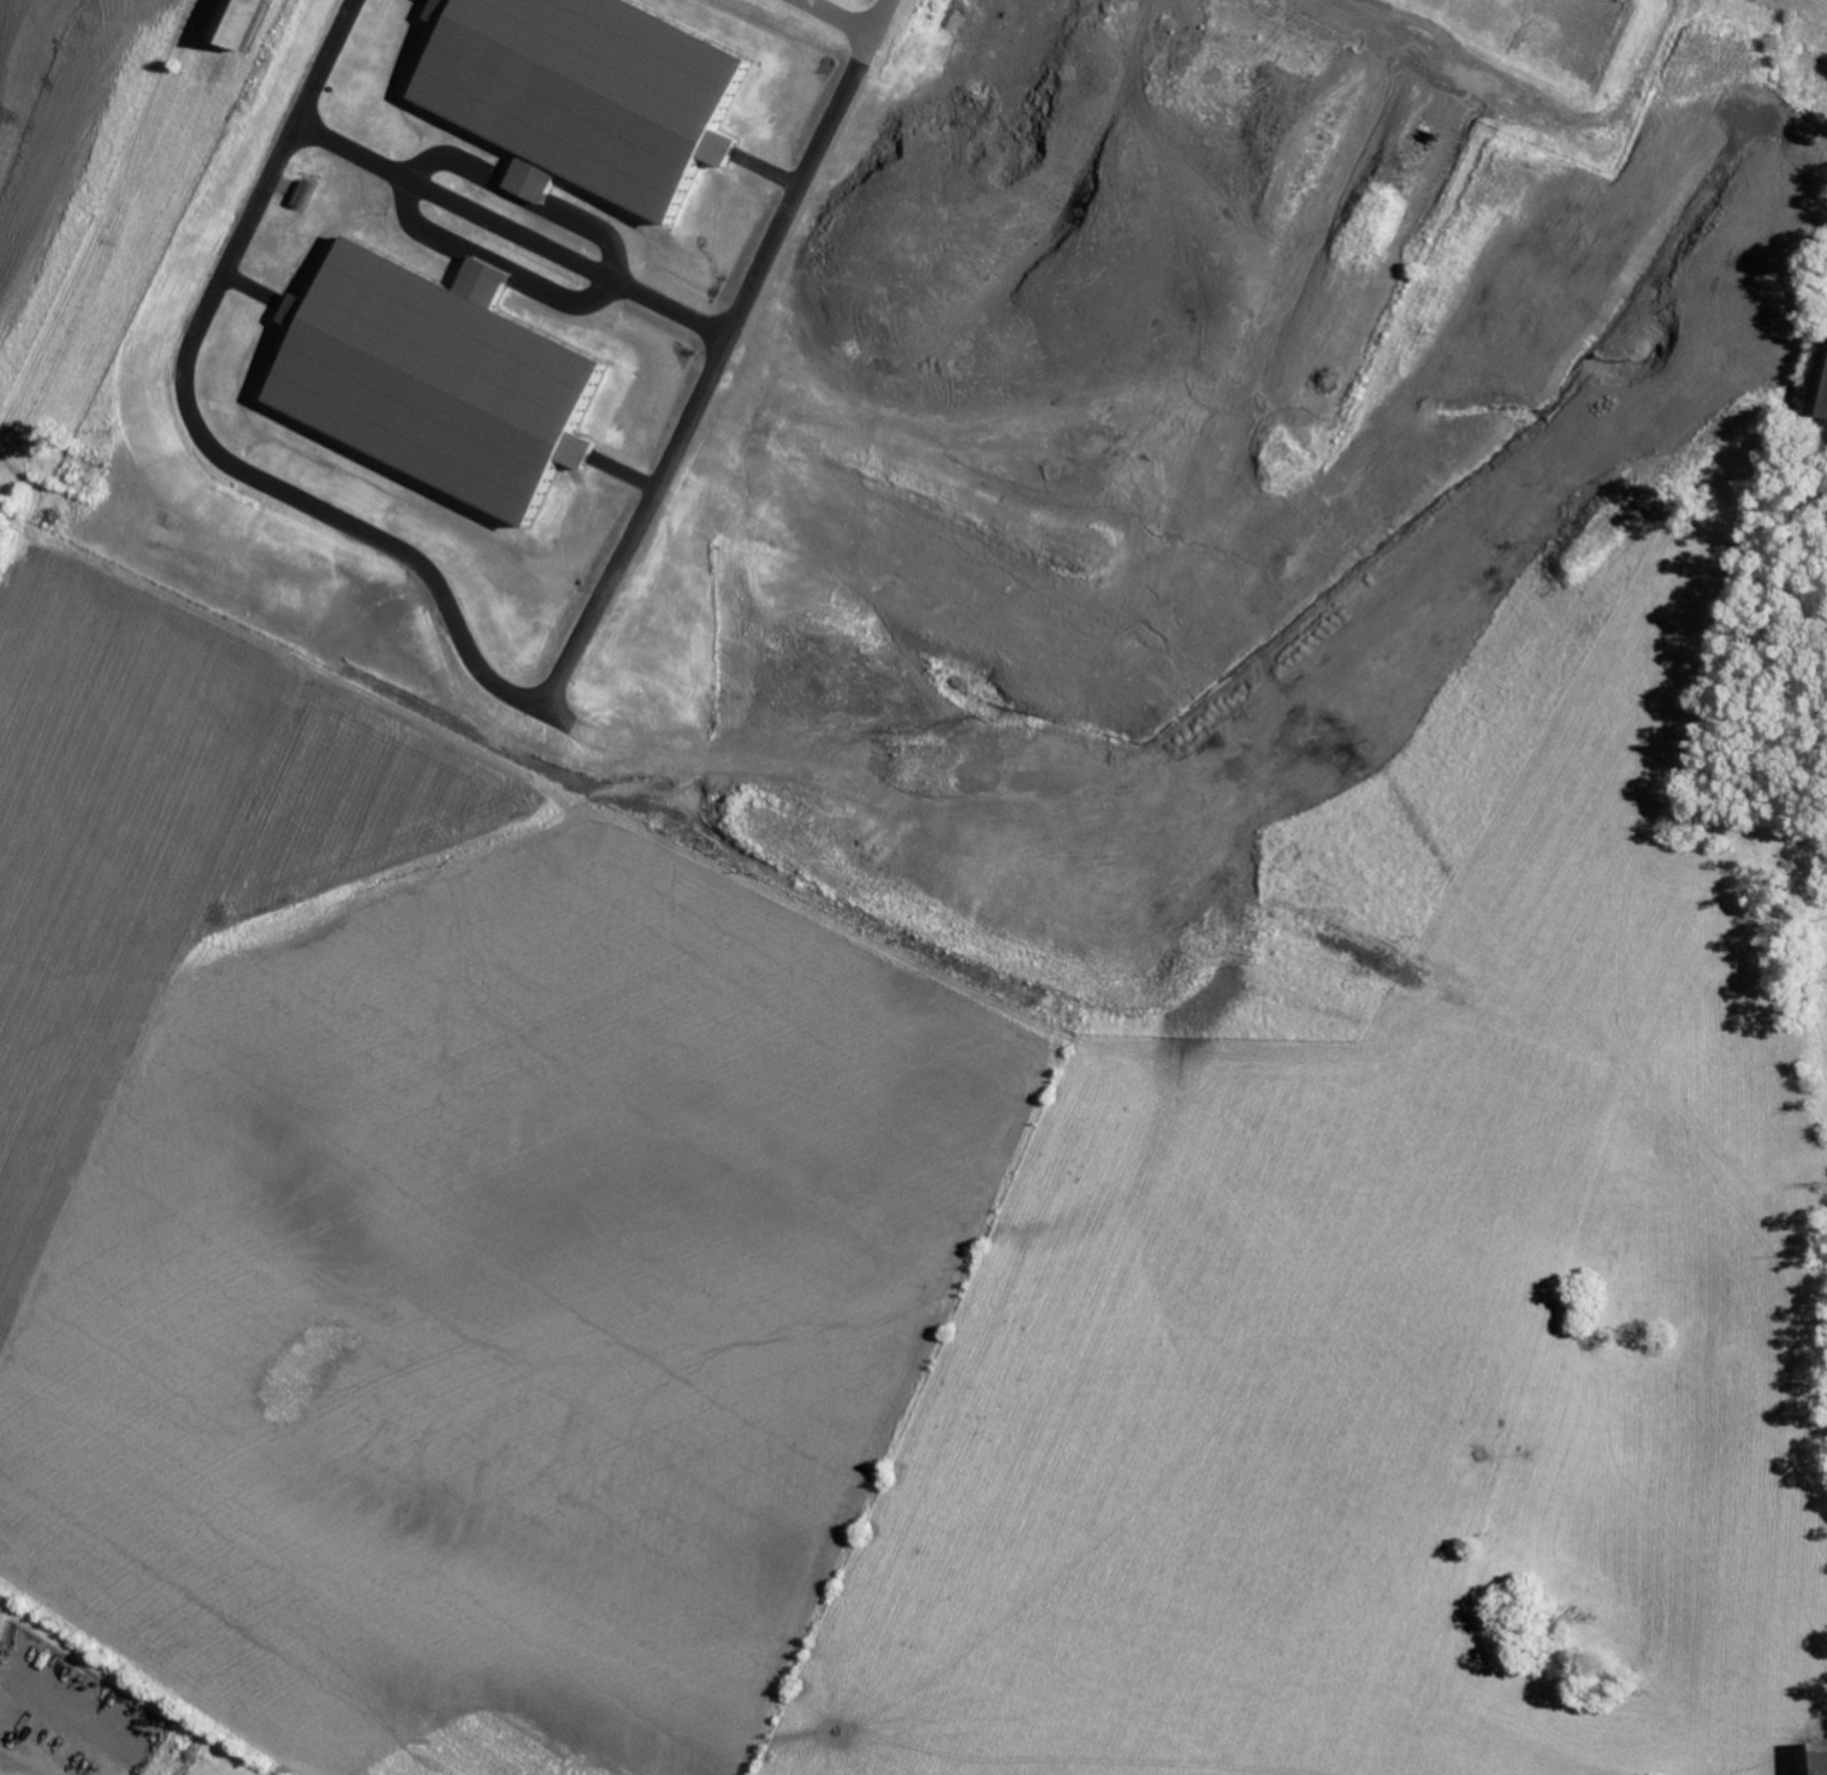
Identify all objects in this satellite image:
building: (250, 23)
road: (854, 34)
building: (586, 93)
road: (742, 320)
building: (429, 384)
building: (1822, 397)
road: (70, 1709)
building: (1816, 1759)
road: (14, 1765)

